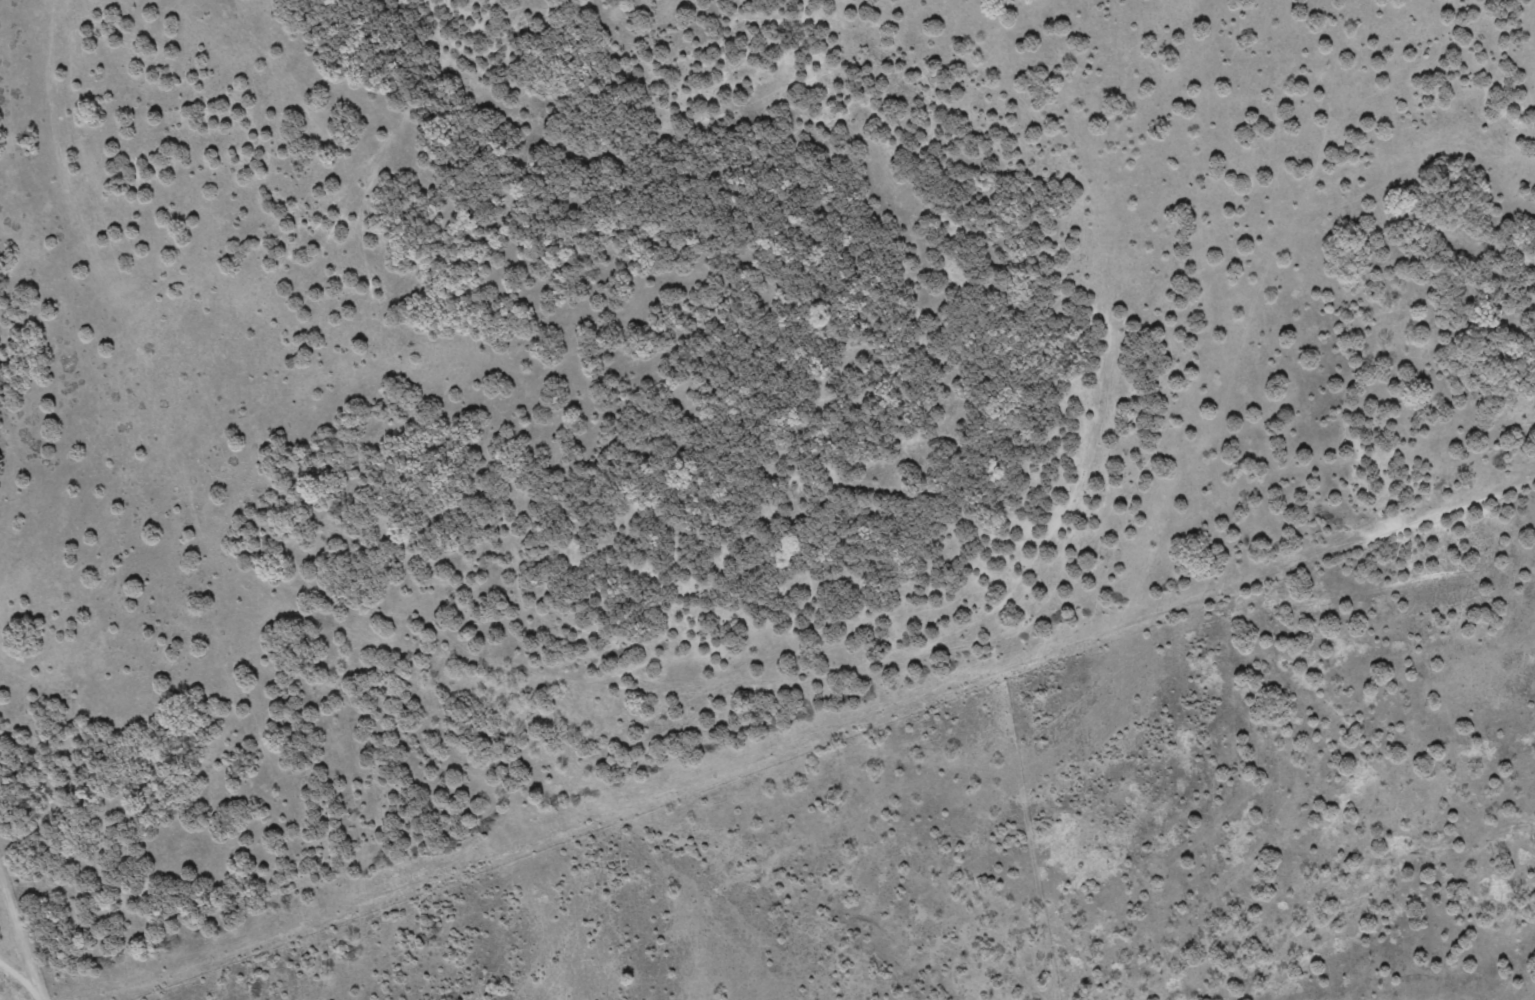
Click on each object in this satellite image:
road: (13, 502)

